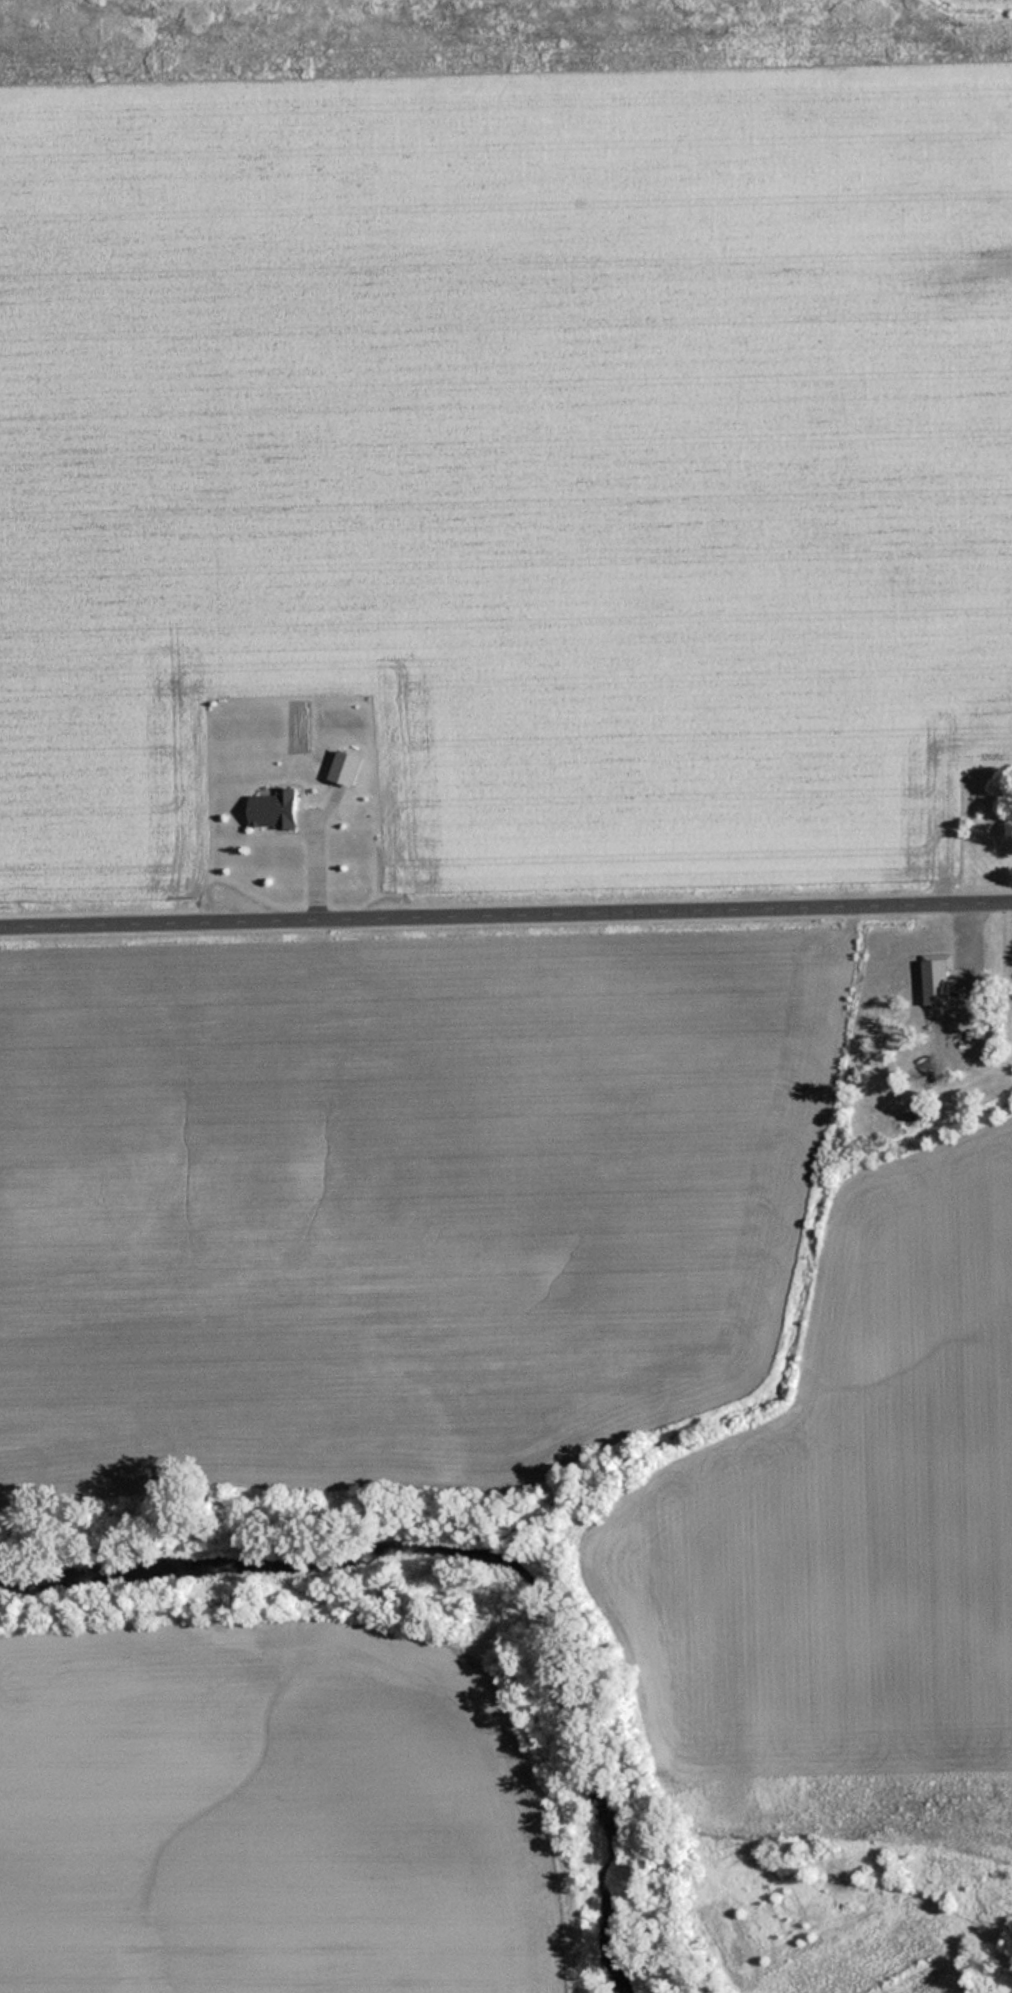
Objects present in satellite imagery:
building: (275, 810)
road: (506, 913)
building: (966, 972)

